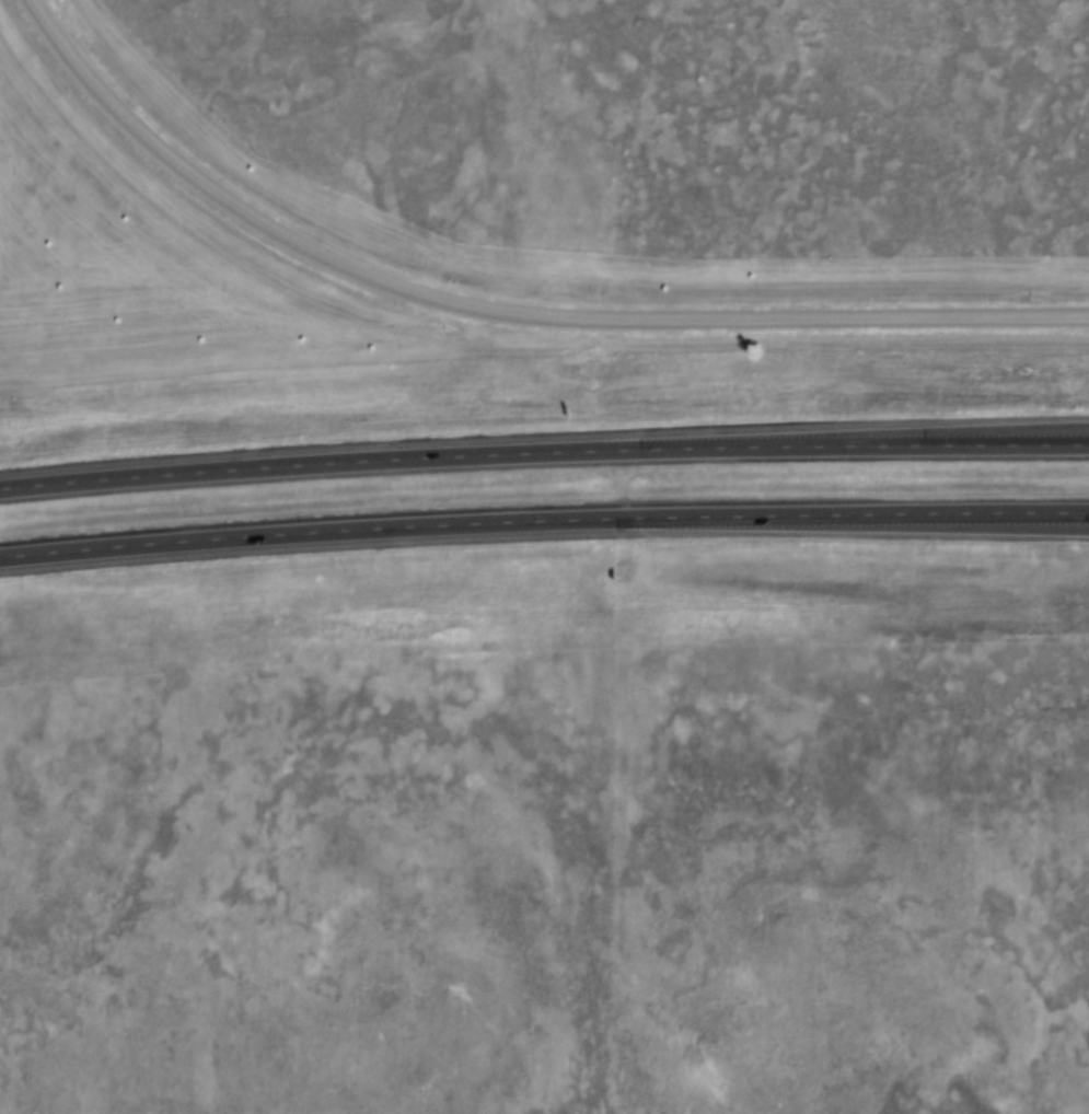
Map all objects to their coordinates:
road: (499, 318)
road: (1013, 432)
road: (543, 456)
road: (543, 524)
road: (939, 524)

